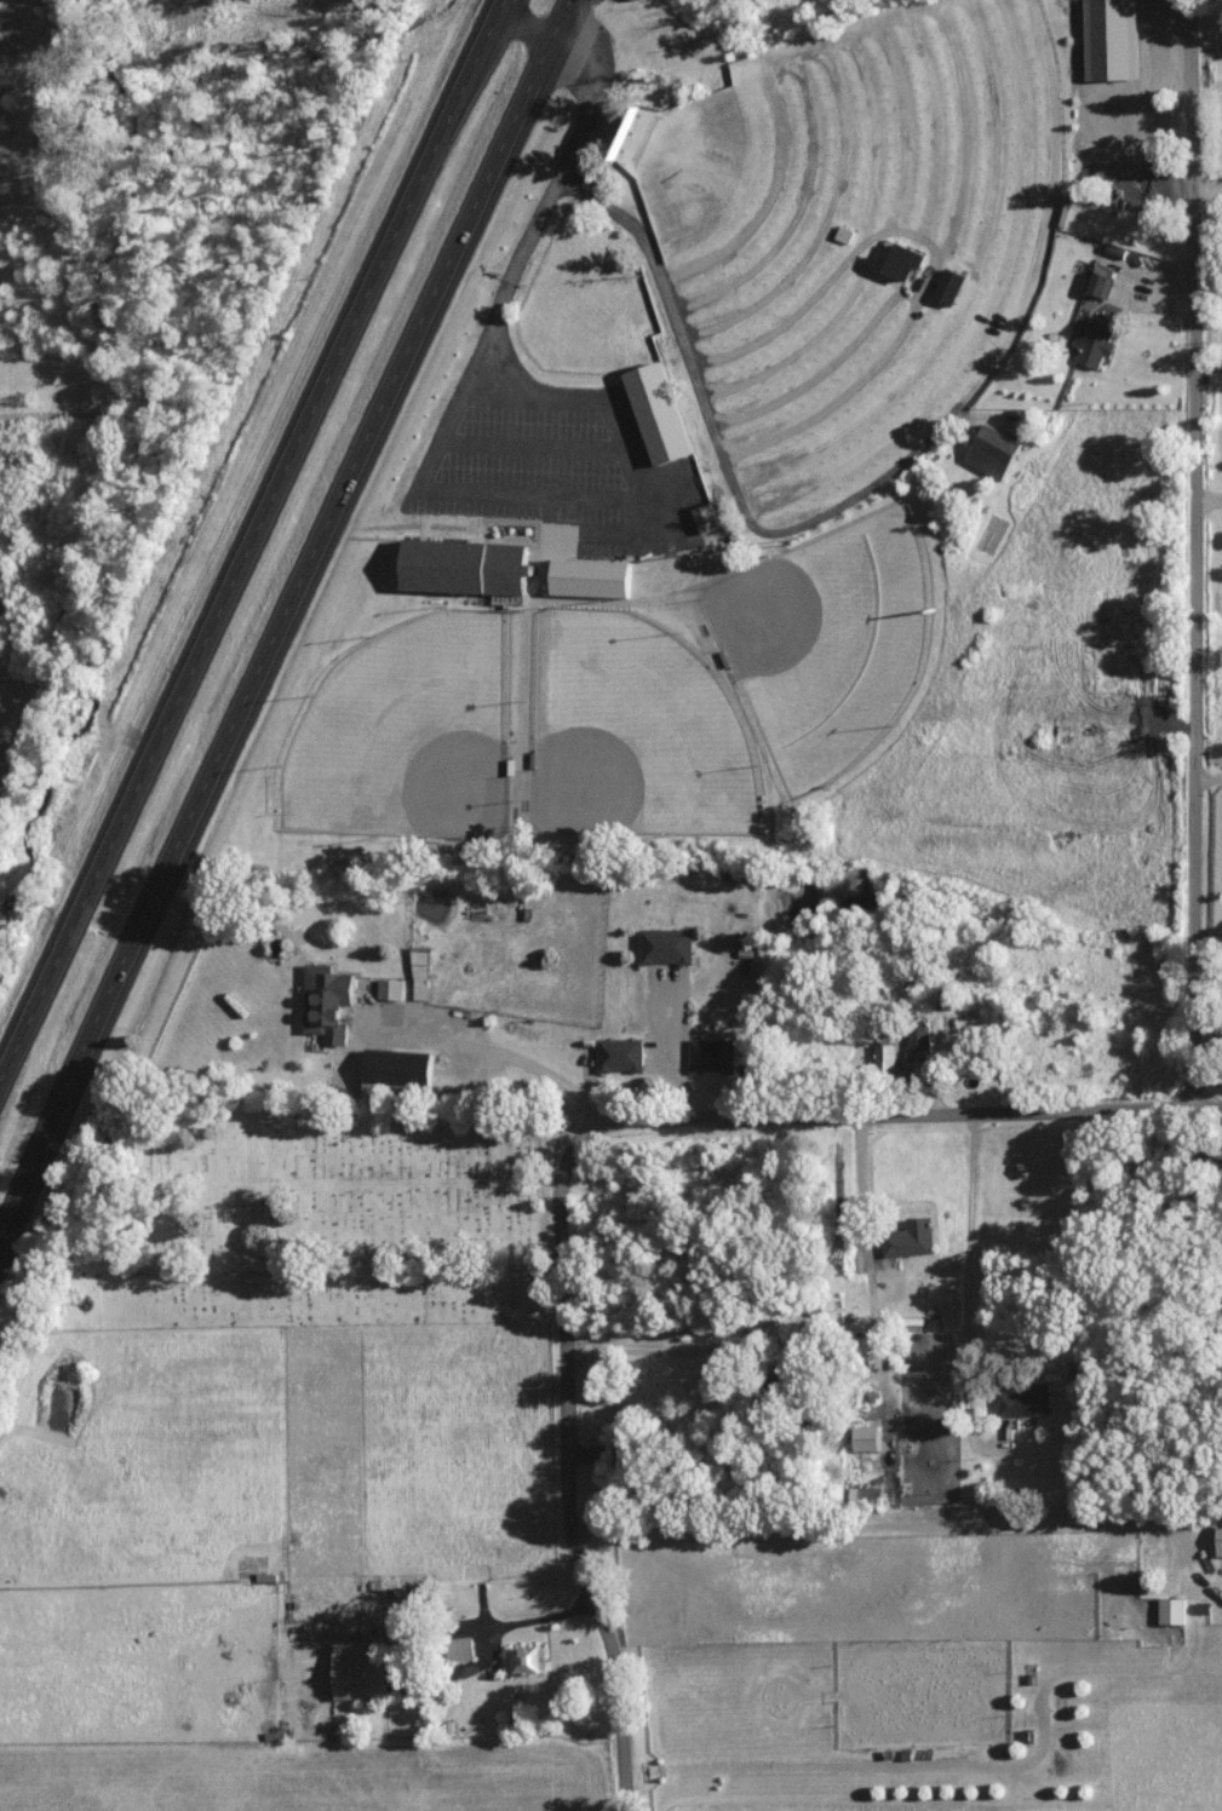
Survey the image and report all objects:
building: (1113, 39)
road: (1206, 77)
road: (1206, 191)
road: (520, 243)
building: (900, 258)
road: (933, 258)
building: (1100, 277)
building: (950, 284)
building: (1095, 341)
road: (1206, 367)
building: (662, 412)
road: (718, 445)
building: (997, 452)
road: (1206, 493)
building: (707, 517)
road: (248, 535)
road: (1191, 552)
building: (467, 565)
building: (595, 577)
road: (276, 623)
road: (1206, 780)
building: (667, 944)
building: (420, 972)
building: (391, 988)
building: (328, 1001)
building: (918, 1039)
road: (486, 1050)
road: (669, 1053)
building: (620, 1054)
building: (711, 1054)
building: (885, 1058)
building: (400, 1067)
road: (947, 1116)
road: (860, 1201)
park: (322, 1218)
building: (911, 1237)
road: (965, 1290)
road: (658, 1349)
building: (1027, 1399)
road: (560, 1426)
building: (870, 1494)
building: (1221, 1536)
road: (1192, 1600)
building: (1174, 1609)
road: (497, 1628)
building: (522, 1658)
building: (362, 1668)

